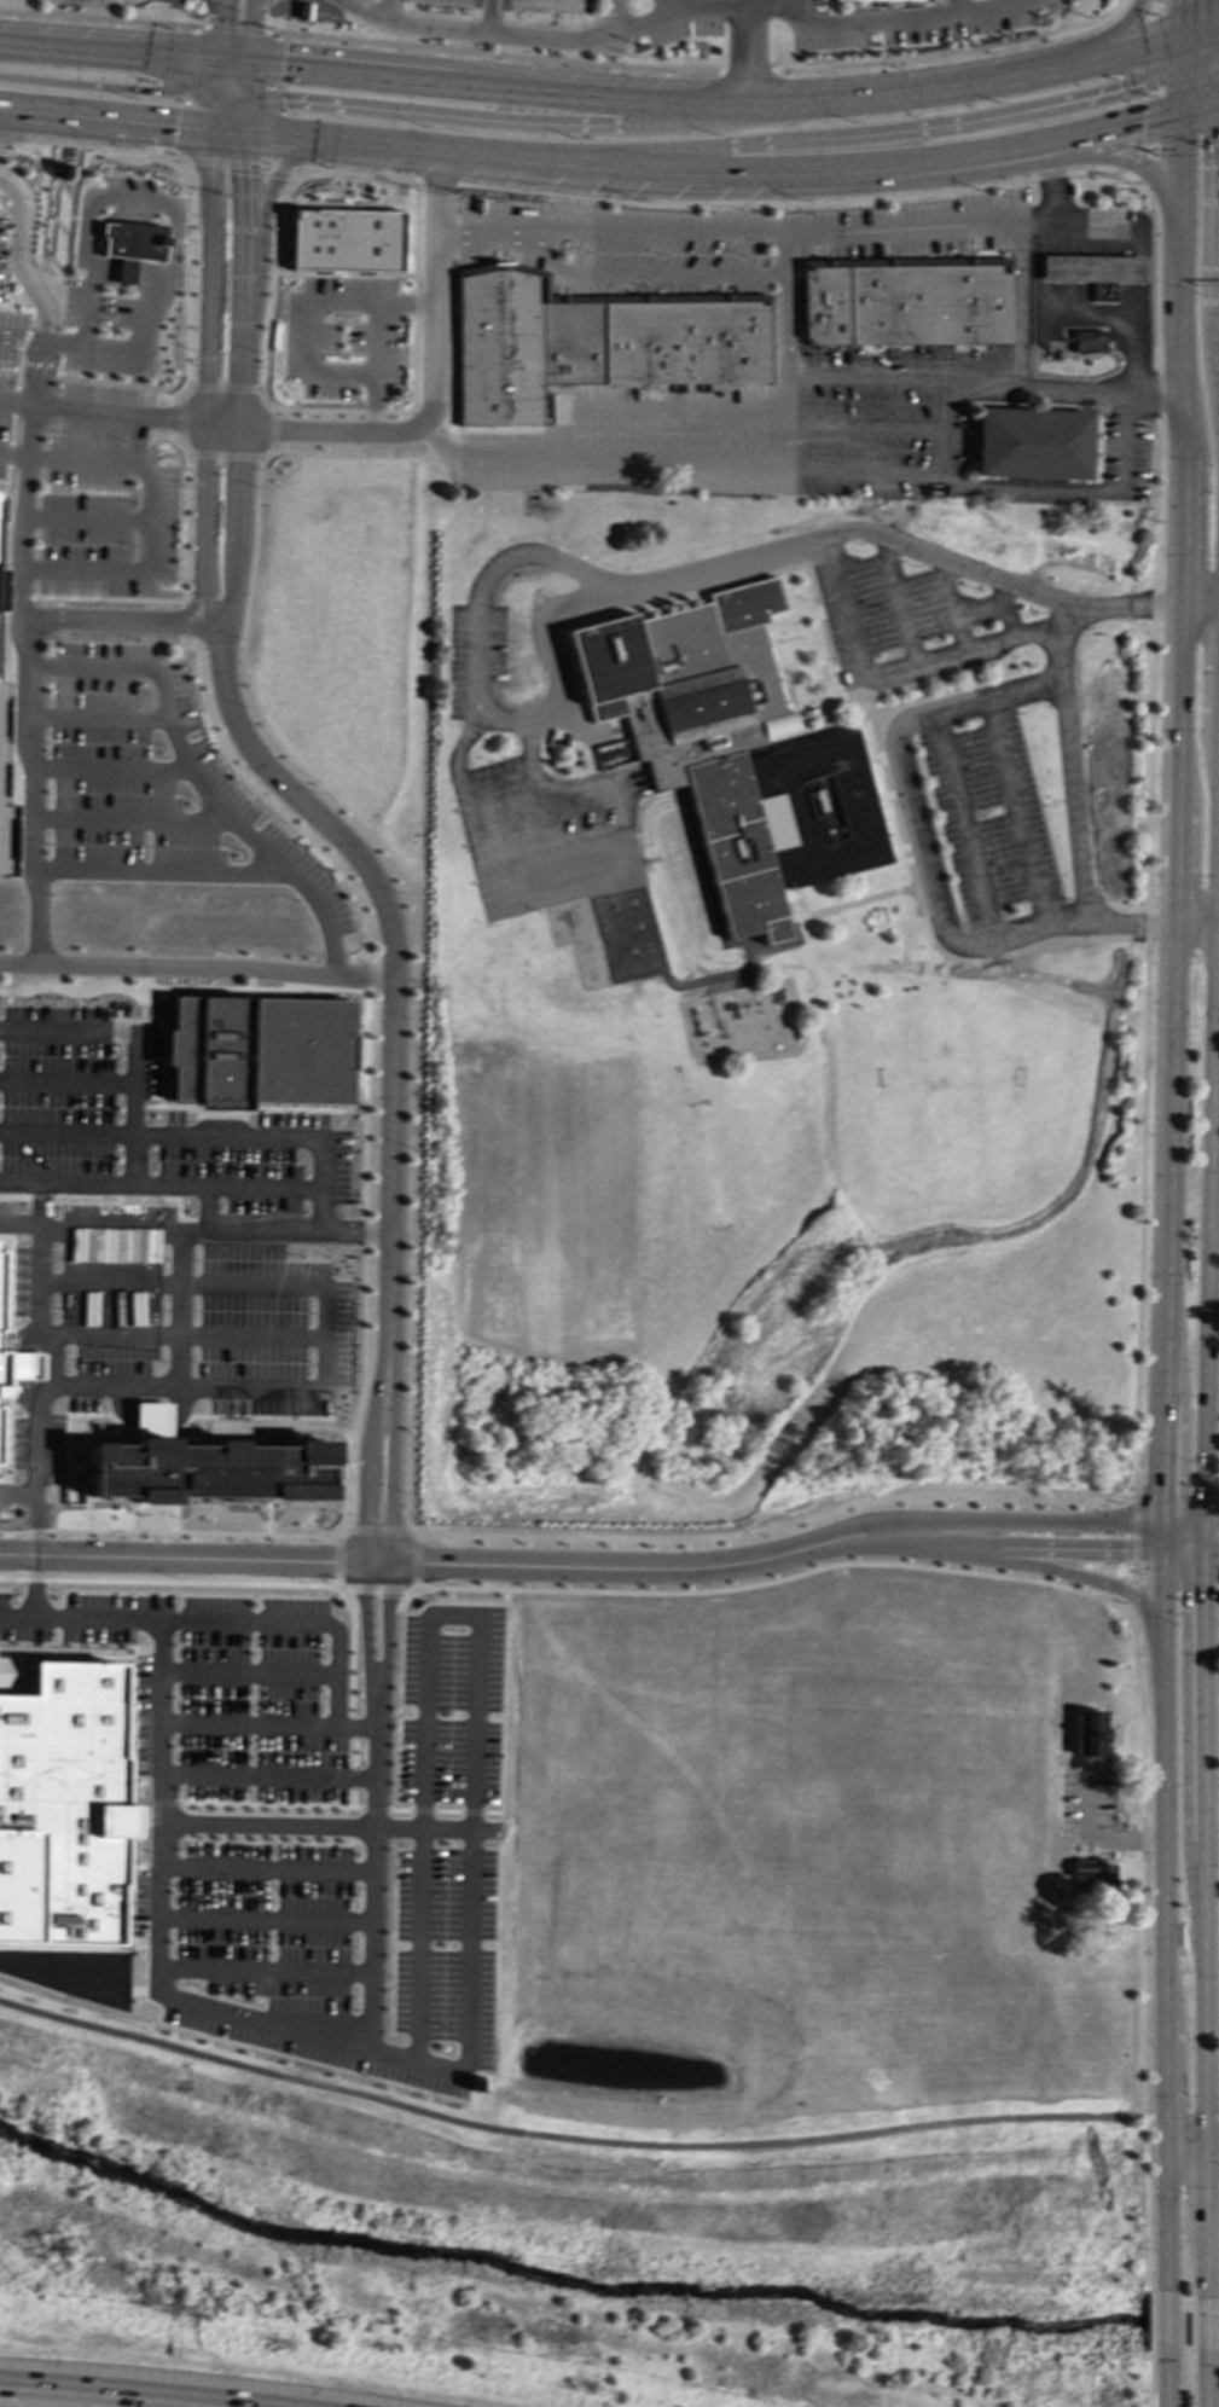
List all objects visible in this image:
parking lot: (818, 0)
building: (895, 0)
road: (1008, 1)
road: (222, 2)
road: (226, 2)
parking lot: (451, 2)
road: (1151, 2)
road: (1163, 2)
road: (252, 4)
parking lot: (552, 6)
road: (800, 6)
road: (957, 6)
road: (669, 7)
road: (387, 8)
road: (680, 13)
road: (1194, 16)
road: (490, 17)
road: (613, 17)
road: (97, 18)
traffic signals: (226, 21)
parking lot: (684, 21)
parking lot: (916, 23)
road: (1206, 27)
road: (237, 29)
road: (224, 31)
road: (249, 31)
road: (1111, 34)
road: (1190, 47)
road: (110, 51)
road: (1203, 53)
road: (501, 54)
road: (952, 54)
road: (748, 57)
road: (274, 58)
road: (236, 62)
traffic signals: (281, 65)
road: (747, 71)
road: (220, 75)
road: (1151, 77)
road: (414, 79)
road: (238, 81)
road: (248, 81)
traffic signals: (1133, 86)
road: (109, 87)
road: (1185, 87)
traffic signals: (151, 92)
road: (187, 92)
road: (1200, 93)
road: (889, 94)
traffic signals: (280, 99)
road: (1201, 105)
road: (217, 109)
road: (228, 110)
road: (246, 115)
road: (108, 116)
road: (498, 121)
traffic signals: (1144, 122)
traffic signals: (175, 123)
road: (267, 126)
road: (231, 128)
road: (1114, 128)
road: (859, 134)
road: (1184, 143)
road: (88, 149)
road: (1046, 152)
road: (1125, 161)
road: (221, 162)
road: (1140, 164)
road: (280, 168)
road: (645, 170)
road: (358, 174)
traffic signals: (245, 175)
road: (436, 181)
road: (909, 182)
road: (1053, 191)
road: (94, 197)
road: (795, 204)
road: (1039, 221)
road: (263, 230)
road: (900, 230)
parking lot: (1, 232)
road: (657, 232)
road: (489, 237)
building: (346, 240)
building: (130, 245)
road: (782, 254)
road: (19, 256)
road: (63, 263)
building: (1091, 267)
gas station: (1091, 267)
road: (344, 274)
road: (703, 274)
road: (191, 277)
road: (1176, 283)
road: (343, 288)
building: (906, 301)
road: (86, 307)
road: (149, 313)
parking lot: (11, 335)
parking lot: (342, 336)
road: (243, 337)
road: (309, 337)
road: (376, 338)
building: (592, 341)
building: (1089, 341)
road: (70, 342)
road: (209, 376)
road: (905, 378)
road: (1020, 384)
road: (226, 388)
road: (651, 408)
road: (333, 411)
parking lot: (4, 412)
road: (13, 417)
road: (182, 418)
road: (940, 424)
road: (866, 425)
road: (274, 428)
road: (348, 431)
building: (1031, 443)
road: (186, 446)
road: (225, 456)
road: (643, 459)
road: (74, 460)
road: (4, 482)
road: (1121, 488)
parking lot: (104, 497)
road: (86, 518)
road: (185, 528)
road: (1180, 529)
road: (912, 547)
road: (255, 549)
road: (135, 570)
road: (50, 584)
road: (72, 584)
road: (95, 585)
road: (234, 585)
road: (37, 597)
road: (895, 598)
parking lot: (923, 603)
road: (182, 619)
road: (118, 621)
road: (188, 648)
road: (222, 649)
road: (28, 650)
road: (899, 663)
road: (64, 691)
road: (477, 703)
road: (99, 717)
road: (173, 730)
building: (732, 750)
road: (114, 767)
parking lot: (157, 787)
road: (64, 805)
building: (5, 806)
road: (1014, 816)
parking lot: (995, 818)
road: (130, 819)
road: (967, 831)
road: (1148, 835)
road: (220, 874)
road: (1183, 893)
road: (1130, 922)
road: (1195, 923)
road: (989, 945)
road: (1183, 959)
road: (198, 967)
road: (395, 978)
road: (115, 1034)
building: (259, 1051)
road: (1168, 1063)
road: (66, 1080)
parking lot: (56, 1098)
road: (66, 1132)
road: (255, 1137)
road: (133, 1160)
parking lot: (257, 1161)
road: (1211, 1170)
road: (126, 1185)
road: (284, 1190)
road: (304, 1229)
road: (365, 1231)
road: (112, 1232)
building: (27, 1265)
road: (182, 1284)
parking lot: (112, 1297)
parking lot: (272, 1332)
road: (181, 1335)
road: (325, 1338)
building: (114, 1355)
road: (178, 1358)
road: (52, 1369)
building: (1, 1371)
road: (25, 1374)
road: (251, 1390)
road: (1183, 1400)
road: (151, 1420)
parking lot: (40, 1442)
building: (208, 1471)
road: (365, 1477)
road: (390, 1478)
traffic signals: (1160, 1495)
traffic signals: (1182, 1495)
road: (1177, 1501)
building: (74, 1516)
road: (1040, 1521)
road: (1171, 1526)
road: (1192, 1527)
road: (1211, 1529)
road: (376, 1530)
road: (1160, 1538)
road: (1172, 1538)
road: (1189, 1542)
road: (1202, 1542)
road: (1039, 1548)
traffic signals: (1125, 1550)
road: (1171, 1553)
road: (1191, 1554)
road: (1211, 1555)
road: (1133, 1558)
road: (336, 1560)
road: (413, 1560)
road: (463, 1564)
road: (1072, 1573)
road: (773, 1580)
road: (170, 1582)
road: (35, 1585)
traffic signals: (1202, 1587)
road: (1160, 1588)
road: (376, 1590)
traffic signals: (1185, 1594)
road: (237, 1620)
road: (361, 1622)
road: (385, 1622)
road: (349, 1651)
building: (474, 1654)
road: (132, 1670)
road: (248, 1672)
parking lot: (225, 1687)
parking lot: (449, 1710)
parking lot: (141, 1715)
road: (146, 1719)
road: (161, 1721)
road: (472, 1722)
road: (422, 1723)
road: (248, 1724)
road: (352, 1727)
building: (1089, 1733)
road: (145, 1742)
road: (354, 1752)
road: (1185, 1761)
road: (145, 1765)
road: (267, 1776)
road: (354, 1777)
road: (353, 1798)
road: (162, 1802)
road: (265, 1804)
building: (60, 1805)
road: (355, 1808)
road: (371, 1809)
road: (397, 1810)
road: (420, 1810)
road: (446, 1810)
road: (465, 1811)
road: (267, 1827)
road: (1203, 1850)
road: (134, 1855)
road: (372, 1864)
road: (267, 1868)
building: (1089, 1877)
road: (141, 1879)
road: (141, 1902)
road: (156, 1907)
parking lot: (138, 1909)
road: (263, 1920)
parking lot: (265, 1922)
road: (469, 1928)
road: (419, 1947)
parking lot: (445, 1950)
road: (1140, 1951)
road: (1162, 1955)
road: (262, 1971)
road: (308, 2034)
parking lot: (312, 2054)
road: (1182, 2117)
road: (564, 2138)
road: (1183, 2145)
road: (1209, 2146)
road: (1205, 2218)
park: (1218, 2258)
road: (1148, 2321)
road: (1166, 2328)
road: (1207, 2331)
road: (1147, 2379)
road: (1208, 2388)
road: (1166, 2389)
road: (116, 2392)
road: (133, 2401)

